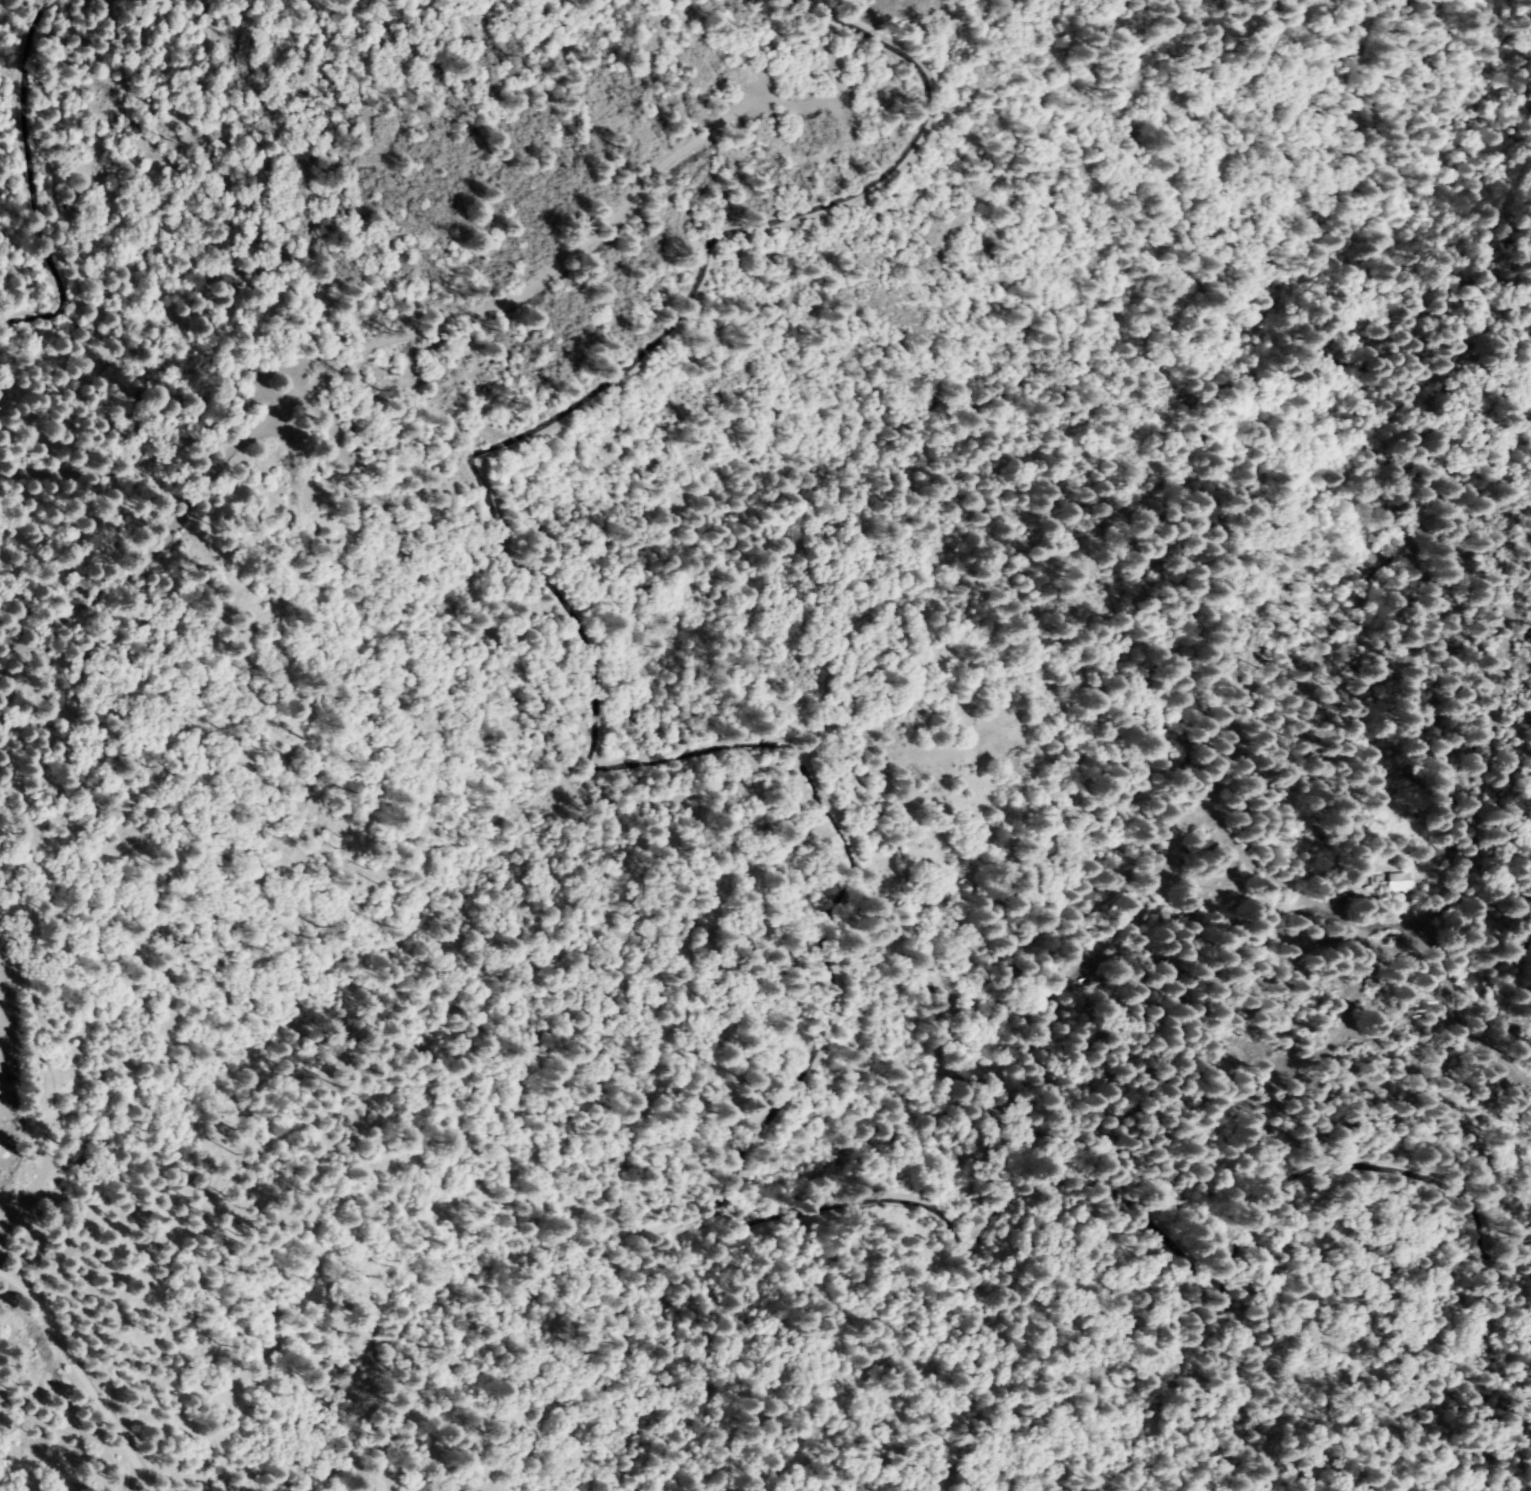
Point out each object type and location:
road: (233, 426)
building: (1200, 844)
building: (1400, 883)
building: (1076, 901)
road: (80, 1375)

